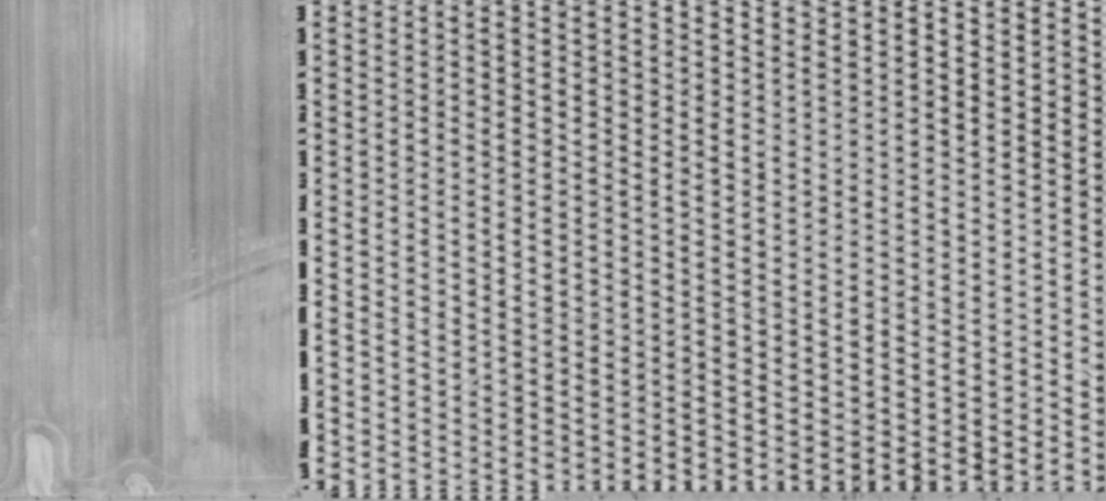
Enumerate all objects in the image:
crop: (501, 250)
crop: (1054, 250)

